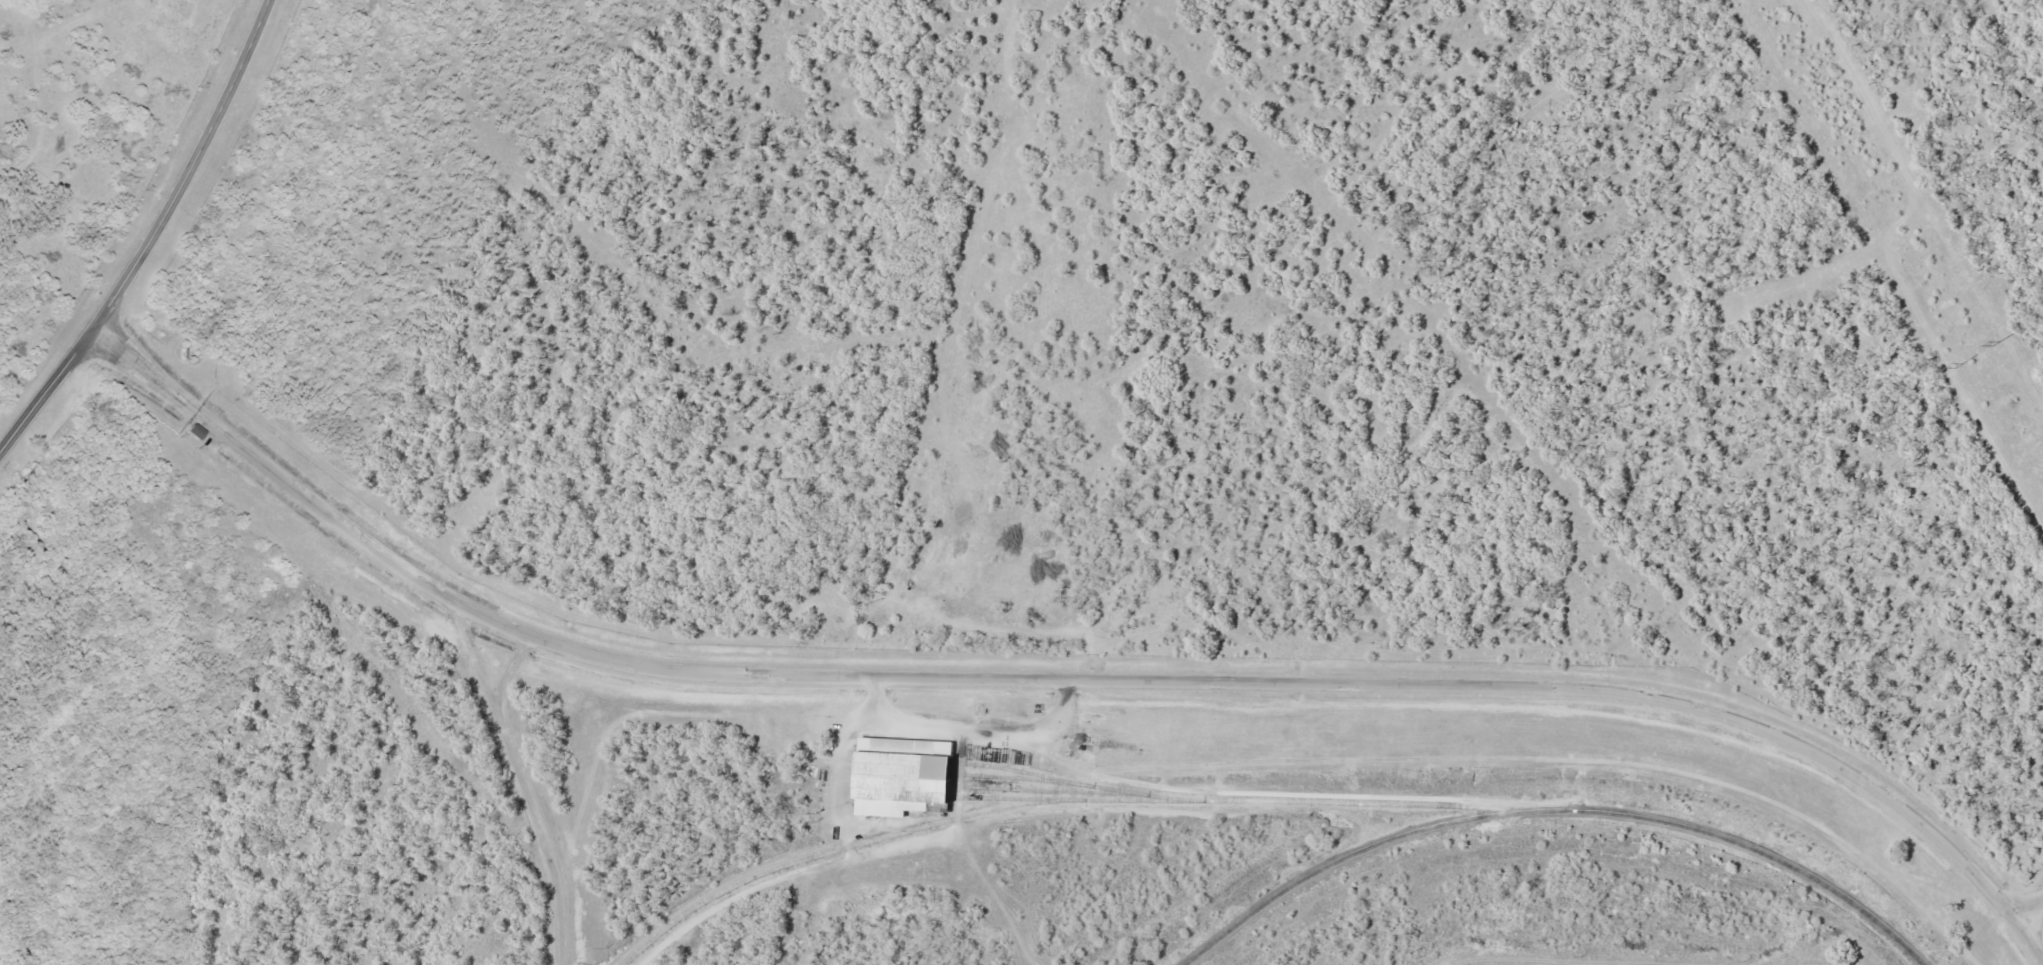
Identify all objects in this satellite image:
road: (154, 236)
power tower: (1994, 344)
power tower: (1956, 367)
building: (195, 430)
power plant: (1062, 496)
road: (1067, 678)
railway: (1019, 770)
building: (902, 776)
road: (520, 779)
railway: (1048, 782)
railway: (1073, 791)
railway: (1025, 798)
railway: (1064, 801)
railway: (1553, 809)
road: (2027, 901)

